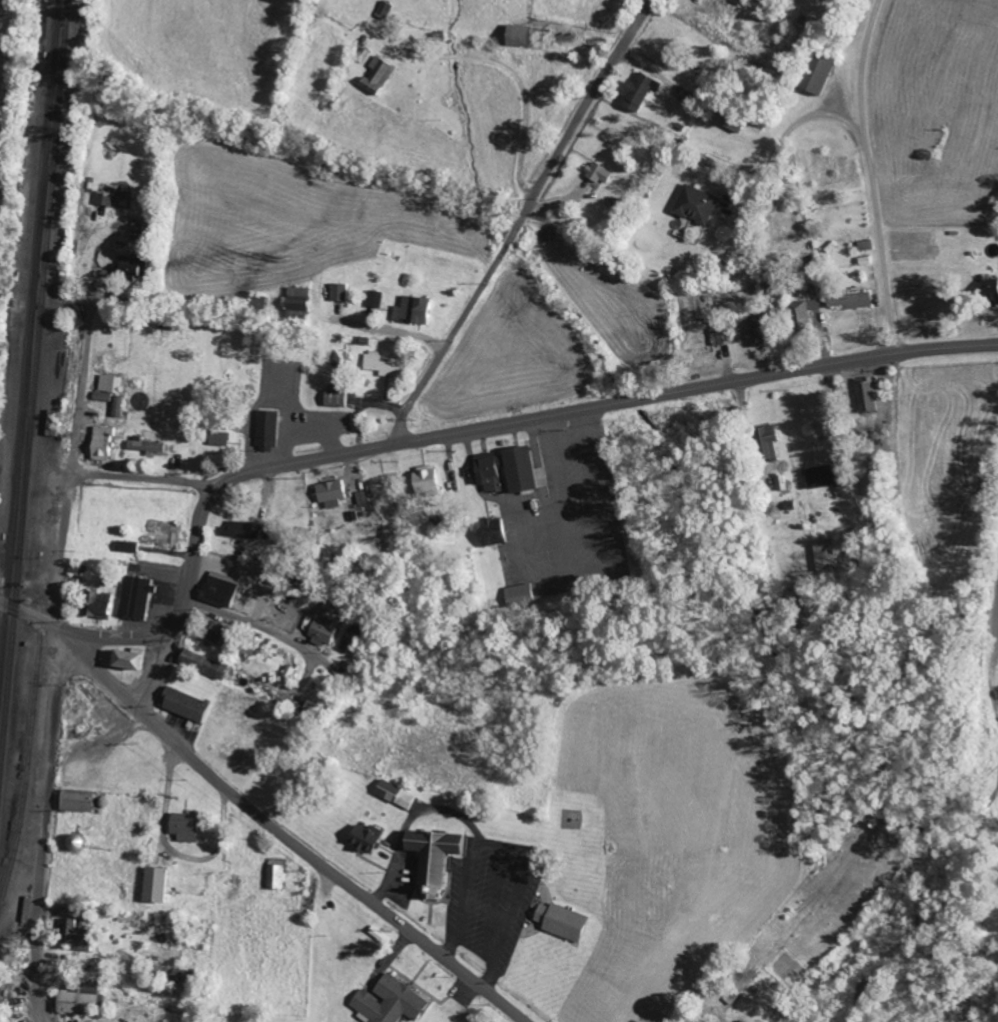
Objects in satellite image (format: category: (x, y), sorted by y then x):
building: (747, 0)
building: (384, 9)
building: (516, 35)
building: (816, 73)
building: (377, 76)
building: (640, 91)
building: (731, 123)
building: (598, 173)
building: (103, 198)
building: (695, 205)
road: (522, 219)
building: (127, 271)
building: (990, 291)
building: (339, 292)
building: (375, 299)
railway: (29, 300)
building: (850, 301)
building: (296, 302)
building: (411, 310)
building: (802, 314)
building: (759, 329)
building: (724, 335)
building: (381, 365)
railway: (31, 371)
building: (109, 384)
building: (865, 394)
building: (334, 399)
building: (117, 406)
building: (267, 429)
road: (443, 433)
building: (219, 438)
building: (768, 441)
building: (101, 442)
building: (146, 446)
road: (74, 459)
building: (507, 470)
building: (821, 476)
road: (145, 479)
building: (424, 480)
building: (330, 494)
building: (362, 499)
building: (241, 530)
building: (490, 532)
building: (127, 547)
building: (824, 554)
building: (220, 589)
building: (518, 595)
building: (136, 597)
building: (96, 605)
road: (255, 624)
building: (321, 630)
building: (215, 633)
building: (124, 660)
building: (203, 664)
road: (158, 666)
road: (102, 670)
building: (184, 705)
building: (310, 711)
railway: (26, 767)
road: (49, 788)
building: (395, 795)
building: (76, 801)
building: (185, 827)
building: (365, 838)
building: (432, 856)
road: (330, 868)
building: (275, 874)
building: (155, 885)
building: (561, 921)
building: (77, 936)
building: (79, 1000)
building: (389, 1002)

